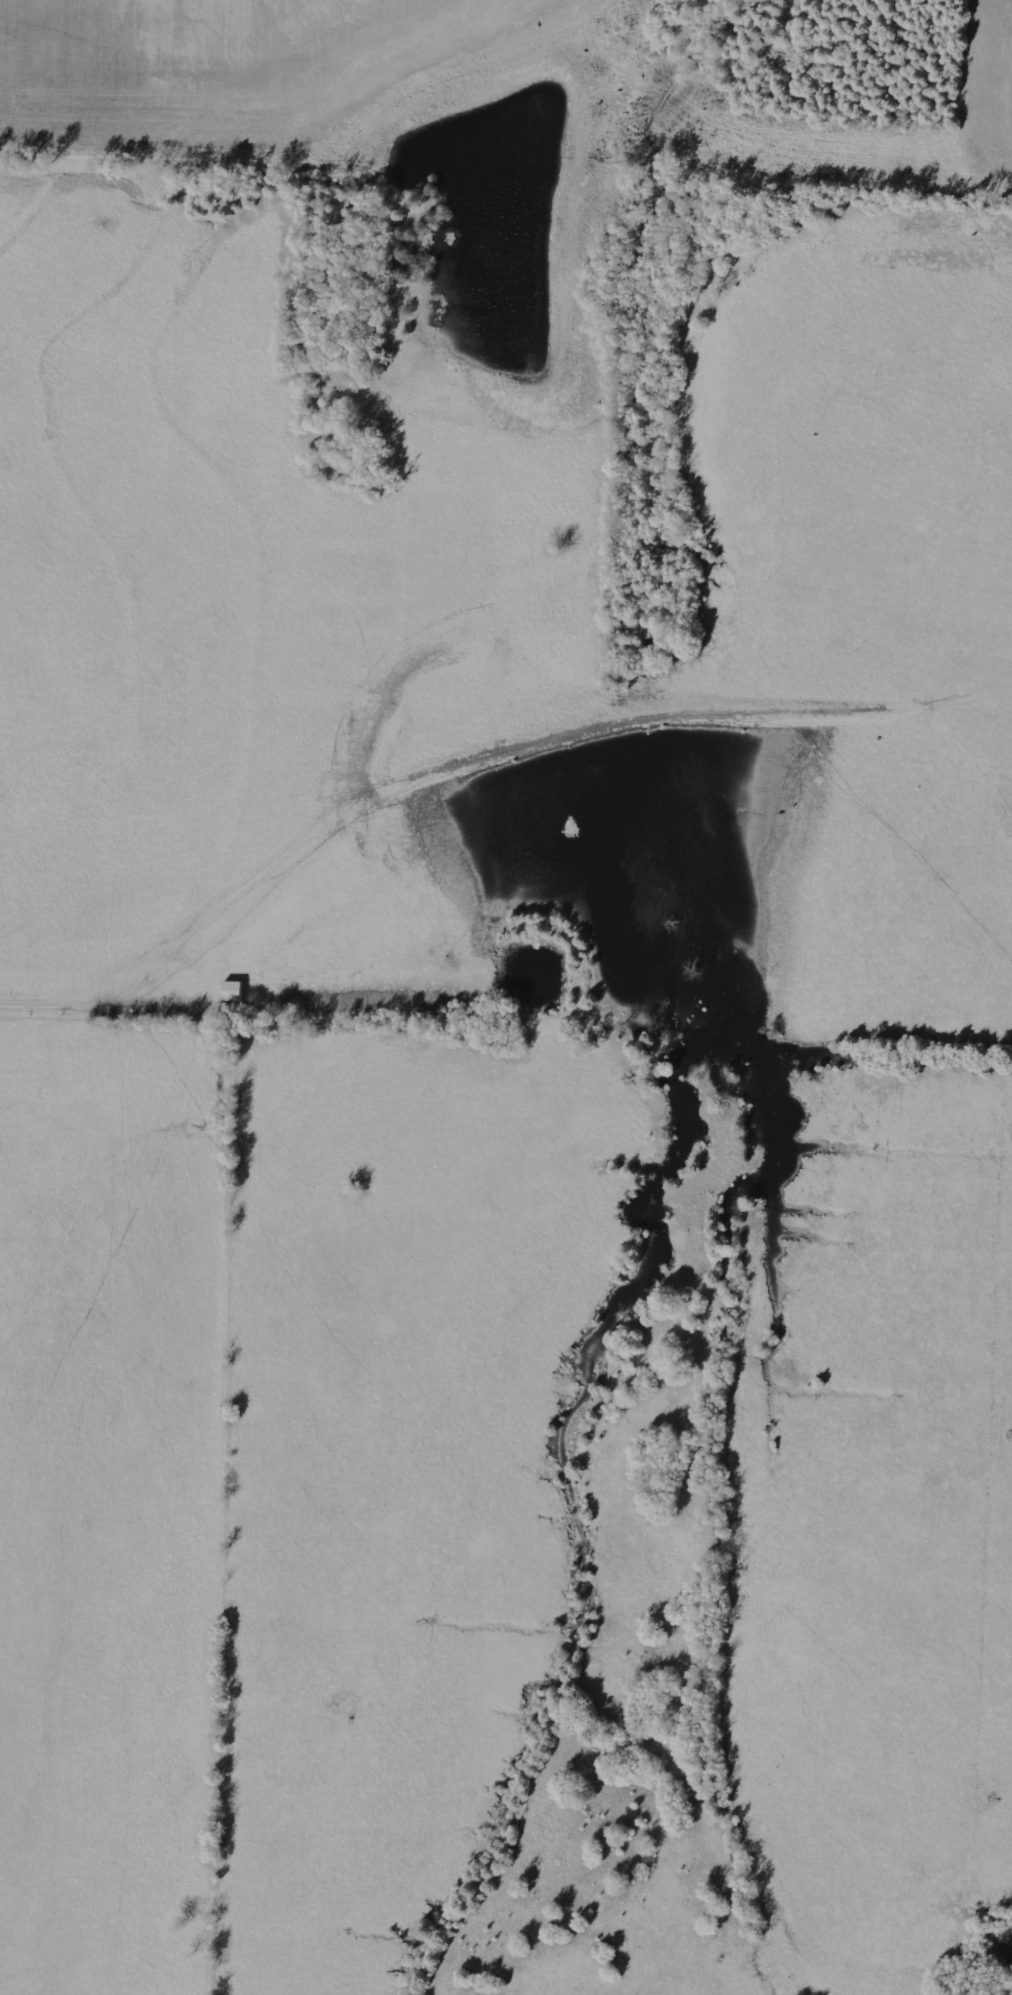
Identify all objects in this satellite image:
road: (131, 561)
building: (234, 991)

